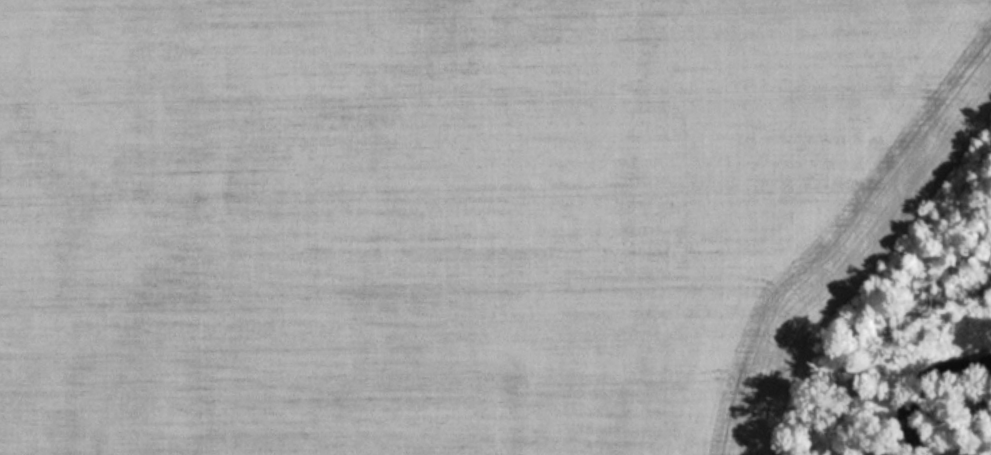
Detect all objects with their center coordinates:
river: (926, 388)

